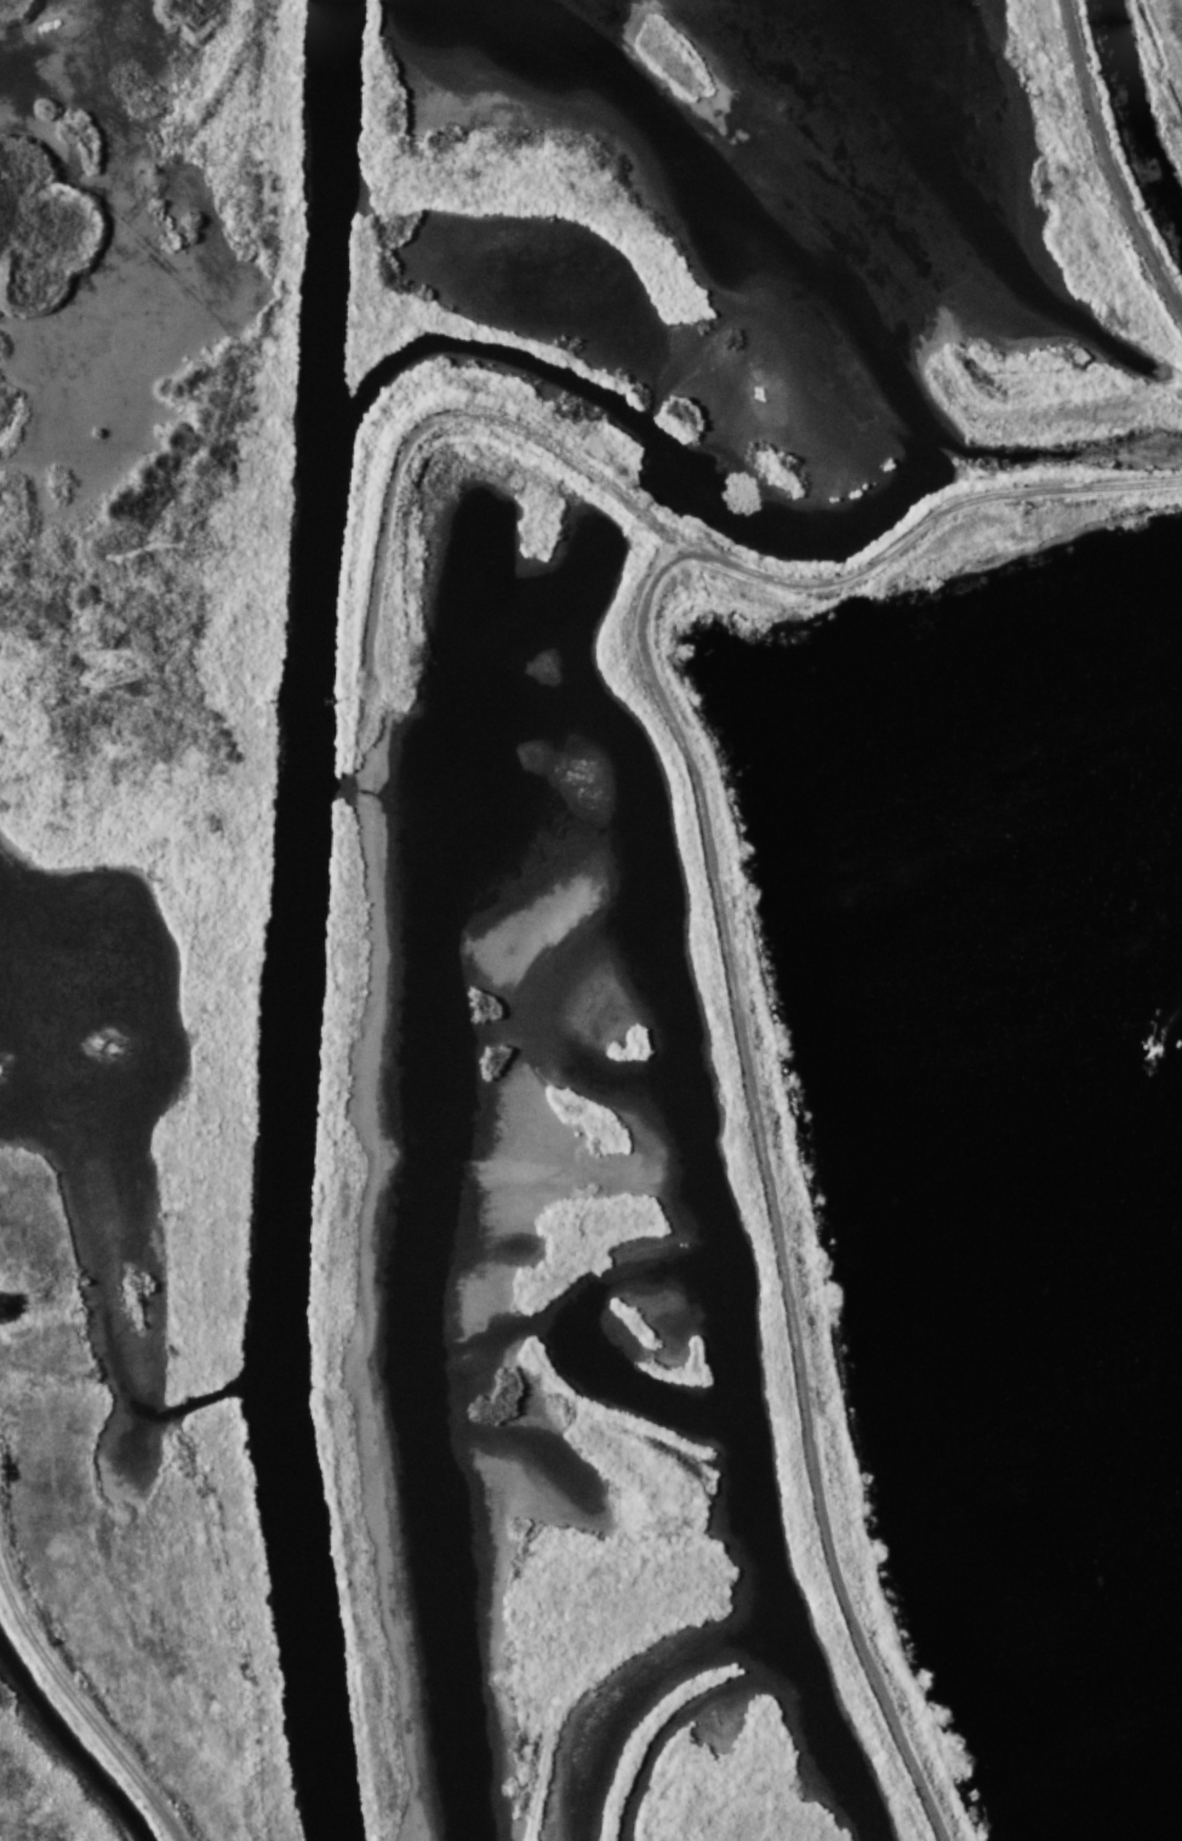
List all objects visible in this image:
river: (348, 247)
river: (304, 1168)

